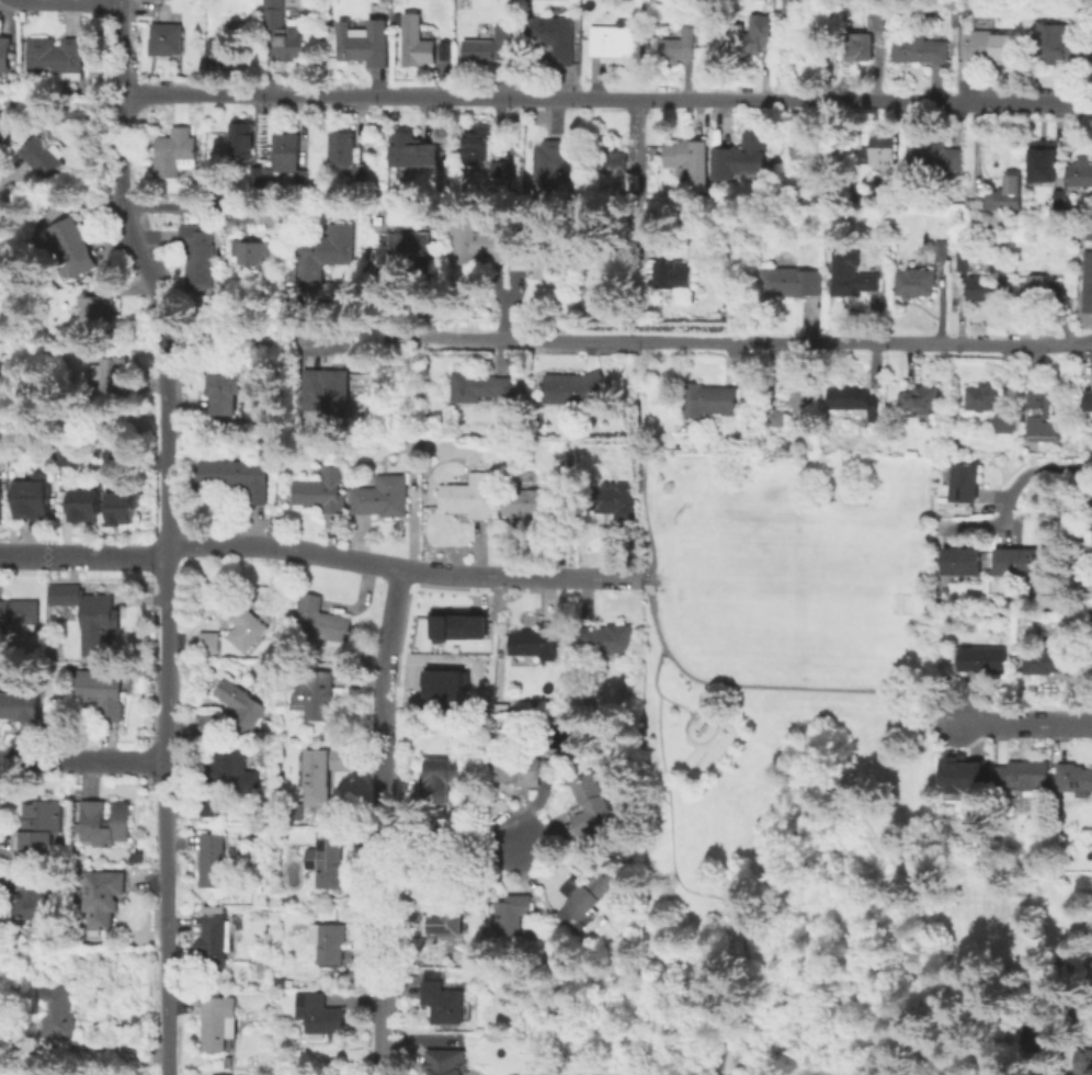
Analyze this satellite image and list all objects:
building: (828, 7)
building: (632, 9)
building: (794, 13)
building: (875, 21)
building: (236, 26)
building: (283, 30)
building: (553, 36)
building: (416, 37)
building: (166, 38)
building: (363, 38)
building: (748, 38)
building: (614, 41)
building: (1055, 42)
building: (679, 45)
building: (857, 46)
building: (488, 47)
building: (918, 48)
building: (442, 49)
building: (990, 49)
building: (218, 50)
building: (4, 55)
building: (56, 56)
road: (606, 99)
building: (241, 137)
building: (477, 144)
building: (342, 145)
building: (809, 148)
building: (883, 149)
building: (413, 150)
building: (174, 151)
building: (741, 152)
building: (44, 156)
building: (689, 157)
building: (934, 158)
building: (286, 159)
building: (1042, 161)
building: (550, 162)
building: (616, 165)
building: (500, 169)
building: (1081, 172)
building: (360, 173)
building: (257, 174)
building: (1009, 191)
building: (1057, 195)
building: (890, 196)
road: (56, 201)
road: (118, 202)
road: (189, 204)
road: (2, 205)
building: (273, 214)
building: (699, 216)
building: (1088, 230)
building: (479, 240)
building: (75, 246)
building: (941, 249)
building: (253, 250)
building: (406, 250)
building: (328, 252)
building: (201, 253)
building: (539, 258)
building: (963, 260)
building: (850, 271)
building: (296, 272)
road: (151, 274)
building: (673, 274)
building: (789, 281)
building: (1085, 282)
building: (914, 283)
building: (987, 287)
building: (1043, 288)
building: (102, 309)
road: (226, 338)
road: (687, 340)
building: (117, 373)
building: (327, 385)
building: (480, 385)
building: (577, 391)
building: (224, 393)
building: (980, 396)
building: (803, 397)
building: (853, 399)
building: (919, 399)
building: (1088, 399)
building: (709, 400)
building: (1043, 415)
building: (777, 416)
building: (1003, 422)
building: (69, 455)
building: (115, 456)
building: (416, 460)
road: (642, 460)
building: (963, 480)
building: (237, 483)
road: (1013, 489)
building: (321, 491)
building: (382, 496)
building: (467, 496)
building: (34, 498)
building: (530, 500)
building: (611, 500)
building: (1, 501)
building: (84, 506)
building: (121, 506)
road: (282, 546)
road: (82, 557)
building: (960, 561)
building: (1015, 562)
road: (443, 573)
road: (564, 576)
park: (788, 598)
building: (20, 611)
building: (319, 622)
building: (95, 624)
building: (457, 624)
building: (246, 627)
building: (208, 640)
road: (387, 640)
building: (605, 640)
building: (536, 642)
building: (980, 658)
building: (1053, 661)
road: (765, 686)
building: (446, 688)
building: (101, 691)
road: (653, 691)
building: (316, 694)
building: (19, 705)
building: (242, 705)
road: (691, 716)
building: (211, 723)
road: (1025, 724)
road: (82, 761)
building: (452, 767)
building: (232, 769)
building: (526, 769)
building: (320, 772)
building: (959, 774)
building: (1023, 774)
building: (1073, 778)
park: (775, 780)
building: (592, 802)
building: (212, 805)
building: (293, 811)
road: (166, 814)
building: (105, 822)
building: (41, 826)
road: (455, 839)
building: (329, 858)
building: (211, 860)
building: (594, 886)
road: (695, 892)
road: (385, 894)
building: (102, 896)
building: (37, 898)
building: (447, 914)
building: (514, 914)
building: (214, 941)
building: (328, 941)
building: (444, 1000)
building: (56, 1011)
building: (318, 1015)
building: (218, 1021)
building: (1087, 1060)
building: (227, 1061)
building: (445, 1061)
building: (1065, 1070)
building: (213, 1074)

